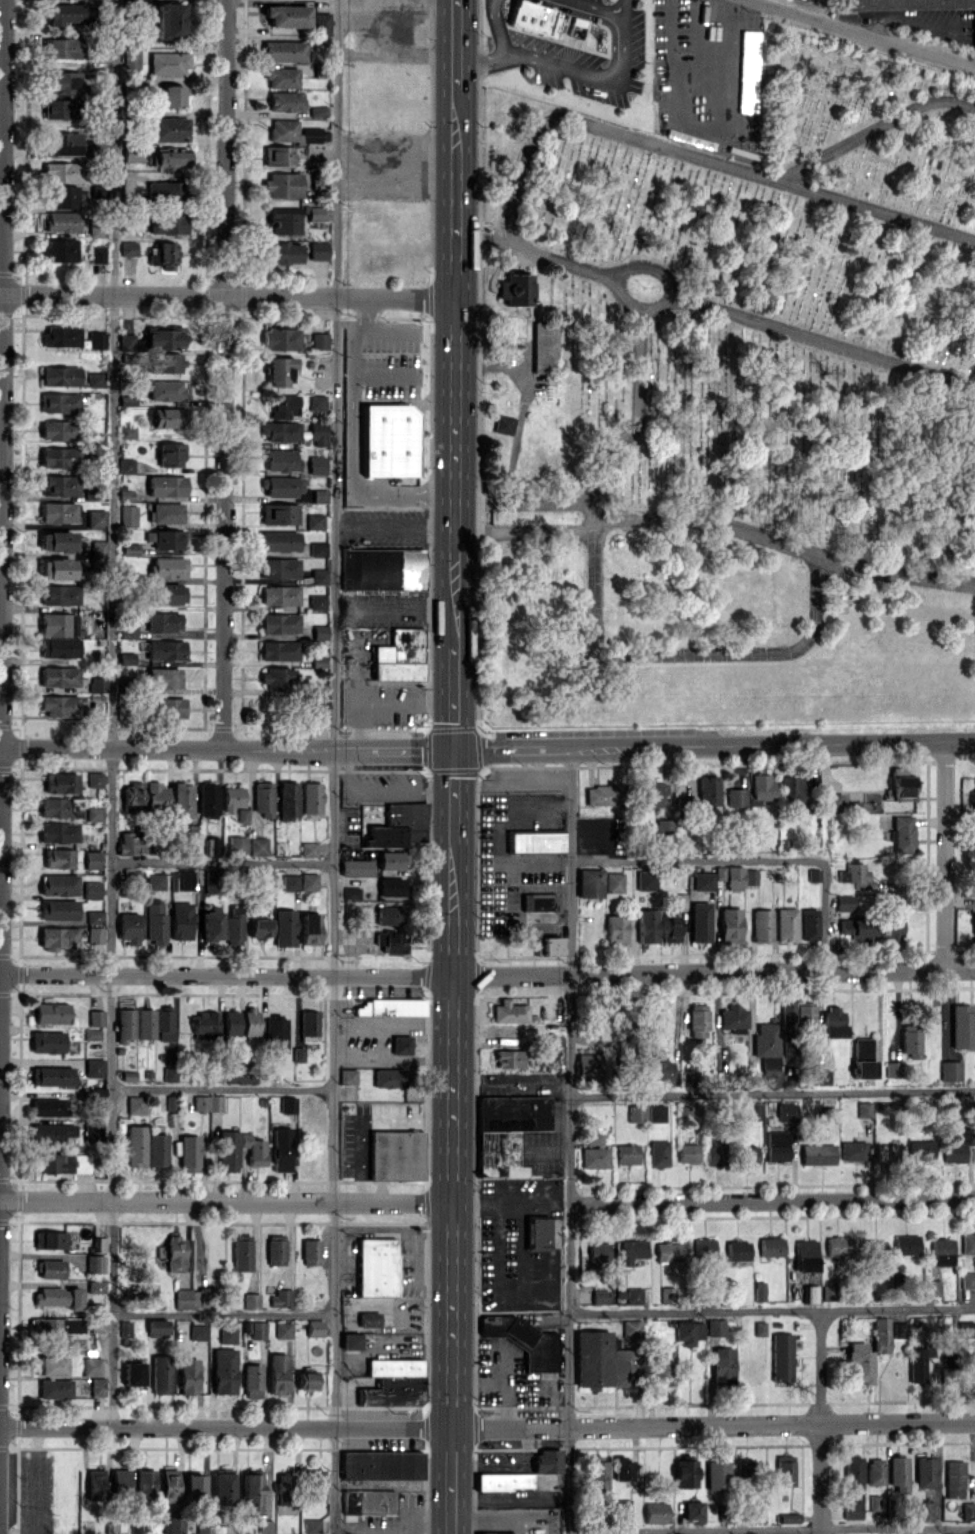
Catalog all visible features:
building: (904, 4)
road: (617, 5)
building: (64, 14)
building: (286, 15)
building: (535, 17)
building: (170, 19)
building: (321, 23)
road: (869, 30)
building: (750, 38)
road: (456, 39)
building: (61, 47)
building: (283, 50)
building: (130, 57)
road: (478, 61)
building: (167, 62)
road: (580, 72)
building: (281, 77)
building: (61, 82)
building: (171, 96)
building: (285, 101)
building: (57, 108)
building: (168, 129)
road: (873, 129)
building: (295, 132)
building: (62, 143)
road: (225, 148)
building: (277, 155)
building: (132, 157)
building: (170, 157)
building: (61, 171)
building: (282, 184)
building: (163, 190)
building: (63, 196)
road: (514, 201)
building: (314, 213)
building: (283, 220)
building: (62, 221)
building: (166, 223)
building: (96, 229)
building: (128, 248)
building: (60, 250)
building: (317, 250)
building: (282, 252)
building: (97, 253)
building: (163, 254)
road: (655, 267)
building: (514, 289)
road: (112, 294)
road: (340, 297)
building: (61, 336)
building: (164, 338)
building: (280, 338)
road: (355, 338)
building: (96, 340)
building: (319, 340)
building: (127, 341)
building: (544, 347)
road: (455, 357)
building: (167, 362)
building: (279, 370)
road: (2, 373)
building: (60, 375)
building: (95, 379)
building: (166, 390)
building: (127, 399)
building: (60, 402)
building: (317, 402)
park: (734, 405)
building: (284, 406)
building: (168, 417)
building: (503, 424)
building: (57, 429)
building: (127, 431)
building: (281, 431)
building: (318, 433)
building: (389, 440)
building: (171, 453)
building: (59, 457)
building: (281, 460)
building: (317, 464)
building: (125, 465)
building: (59, 485)
building: (166, 485)
building: (282, 486)
road: (352, 487)
building: (319, 495)
road: (523, 502)
building: (58, 512)
building: (165, 512)
building: (279, 513)
building: (128, 515)
building: (96, 518)
building: (315, 521)
road: (224, 522)
road: (523, 530)
building: (167, 539)
building: (59, 541)
building: (279, 541)
road: (784, 542)
building: (318, 548)
building: (130, 549)
building: (98, 552)
building: (167, 567)
building: (56, 568)
building: (279, 568)
building: (382, 568)
building: (319, 576)
building: (166, 593)
building: (59, 594)
building: (279, 595)
building: (317, 601)
road: (595, 615)
building: (163, 622)
building: (279, 623)
building: (58, 624)
building: (128, 630)
building: (320, 631)
building: (59, 647)
building: (279, 649)
building: (165, 650)
building: (400, 655)
building: (58, 676)
building: (163, 678)
building: (277, 678)
building: (96, 684)
road: (455, 693)
building: (318, 705)
building: (166, 708)
road: (112, 713)
road: (715, 746)
road: (227, 749)
traffic signals: (455, 751)
road: (334, 767)
building: (94, 779)
building: (61, 782)
road: (383, 786)
building: (760, 787)
building: (901, 787)
building: (790, 789)
building: (707, 790)
road: (453, 791)
building: (131, 792)
building: (651, 793)
building: (155, 795)
building: (603, 795)
building: (232, 797)
building: (311, 797)
building: (735, 797)
building: (263, 798)
building: (208, 799)
building: (287, 799)
building: (182, 801)
building: (832, 802)
building: (94, 813)
building: (399, 825)
building: (661, 826)
building: (58, 832)
building: (902, 833)
building: (536, 841)
building: (130, 843)
building: (236, 845)
building: (258, 845)
building: (213, 846)
building: (309, 849)
road: (943, 855)
building: (58, 858)
building: (92, 859)
building: (393, 860)
road: (697, 860)
road: (223, 861)
building: (356, 867)
building: (719, 873)
building: (856, 874)
building: (749, 876)
building: (733, 877)
building: (645, 879)
building: (182, 880)
building: (702, 880)
building: (155, 881)
building: (309, 881)
building: (211, 882)
building: (289, 882)
building: (589, 882)
building: (613, 882)
building: (58, 884)
building: (391, 886)
building: (91, 889)
building: (351, 892)
building: (538, 901)
building: (848, 902)
road: (452, 904)
building: (58, 909)
building: (388, 915)
road: (823, 915)
building: (94, 916)
building: (180, 920)
building: (699, 921)
building: (155, 923)
building: (211, 923)
building: (729, 924)
building: (785, 924)
building: (808, 924)
building: (973, 924)
building: (233, 925)
building: (646, 925)
building: (761, 925)
building: (890, 926)
building: (128, 927)
building: (259, 927)
building: (284, 927)
building: (615, 928)
building: (309, 929)
building: (670, 929)
building: (854, 929)
building: (95, 934)
building: (57, 937)
building: (391, 941)
building: (547, 946)
road: (487, 976)
building: (509, 1011)
building: (787, 1012)
building: (806, 1012)
building: (51, 1013)
building: (95, 1017)
building: (732, 1017)
building: (250, 1020)
building: (697, 1021)
building: (833, 1021)
building: (204, 1022)
building: (231, 1022)
building: (154, 1023)
building: (308, 1023)
building: (124, 1024)
building: (962, 1026)
building: (275, 1034)
building: (47, 1041)
building: (910, 1041)
building: (401, 1044)
building: (767, 1052)
building: (297, 1054)
building: (507, 1058)
building: (862, 1058)
building: (588, 1066)
building: (93, 1067)
building: (892, 1069)
building: (663, 1070)
building: (950, 1070)
building: (236, 1073)
building: (169, 1074)
building: (50, 1075)
building: (347, 1076)
building: (821, 1076)
building: (389, 1077)
road: (222, 1088)
road: (452, 1088)
road: (772, 1093)
building: (207, 1102)
building: (135, 1104)
building: (287, 1104)
building: (48, 1107)
building: (863, 1109)
building: (753, 1110)
building: (786, 1112)
building: (636, 1113)
building: (655, 1113)
building: (506, 1128)
building: (51, 1132)
building: (593, 1139)
road: (570, 1141)
building: (135, 1145)
building: (776, 1145)
building: (956, 1148)
building: (253, 1149)
building: (280, 1149)
building: (921, 1149)
building: (157, 1150)
building: (853, 1150)
building: (228, 1151)
building: (659, 1152)
building: (687, 1152)
building: (188, 1153)
building: (627, 1153)
building: (885, 1153)
building: (395, 1154)
building: (748, 1154)
building: (817, 1154)
building: (714, 1156)
building: (594, 1157)
building: (64, 1163)
road: (502, 1200)
road: (773, 1200)
road: (225, 1201)
building: (537, 1233)
building: (49, 1239)
building: (967, 1243)
building: (906, 1244)
building: (838, 1245)
building: (770, 1246)
building: (876, 1246)
building: (704, 1247)
building: (805, 1248)
building: (275, 1249)
building: (632, 1250)
building: (737, 1250)
building: (667, 1251)
building: (941, 1251)
building: (310, 1252)
building: (174, 1253)
building: (241, 1253)
building: (598, 1254)
building: (94, 1263)
building: (805, 1264)
building: (376, 1266)
building: (49, 1268)
building: (967, 1280)
building: (866, 1282)
building: (94, 1286)
building: (931, 1287)
building: (759, 1291)
building: (827, 1292)
building: (810, 1293)
building: (667, 1294)
building: (634, 1295)
building: (58, 1296)
building: (599, 1296)
building: (281, 1297)
building: (251, 1300)
road: (772, 1311)
road: (451, 1314)
road: (222, 1315)
building: (368, 1319)
building: (96, 1325)
building: (57, 1326)
building: (156, 1326)
building: (314, 1327)
building: (630, 1327)
building: (715, 1327)
building: (965, 1328)
building: (283, 1329)
building: (898, 1329)
building: (257, 1330)
building: (197, 1331)
building: (687, 1332)
building: (227, 1334)
building: (880, 1335)
building: (523, 1340)
building: (350, 1341)
building: (950, 1353)
building: (781, 1357)
building: (592, 1359)
building: (722, 1361)
building: (860, 1362)
building: (918, 1363)
building: (50, 1365)
building: (91, 1366)
building: (393, 1366)
building: (623, 1367)
building: (662, 1369)
building: (223, 1370)
building: (132, 1373)
building: (160, 1374)
building: (277, 1374)
building: (187, 1376)
building: (252, 1380)
building: (306, 1380)
building: (96, 1386)
building: (54, 1388)
building: (392, 1391)
road: (819, 1422)
road: (487, 1426)
road: (451, 1438)
building: (547, 1460)
building: (380, 1464)
building: (622, 1467)
building: (784, 1470)
building: (874, 1471)
building: (924, 1471)
building: (684, 1473)
building: (897, 1473)
building: (852, 1474)
building: (597, 1475)
building: (717, 1475)
building: (953, 1478)
building: (120, 1480)
building: (503, 1481)
building: (145, 1483)
building: (313, 1484)
building: (96, 1485)
building: (168, 1485)
building: (194, 1485)
building: (222, 1487)
building: (285, 1489)
road: (451, 1491)
building: (250, 1493)
building: (368, 1501)
building: (622, 1507)
building: (851, 1509)
building: (693, 1510)
building: (923, 1510)
building: (967, 1510)
building: (655, 1512)
building: (172, 1525)
building: (311, 1526)
building: (265, 1527)
road: (771, 1529)
road: (486, 1530)
road: (944, 1530)
building: (496, 1533)

